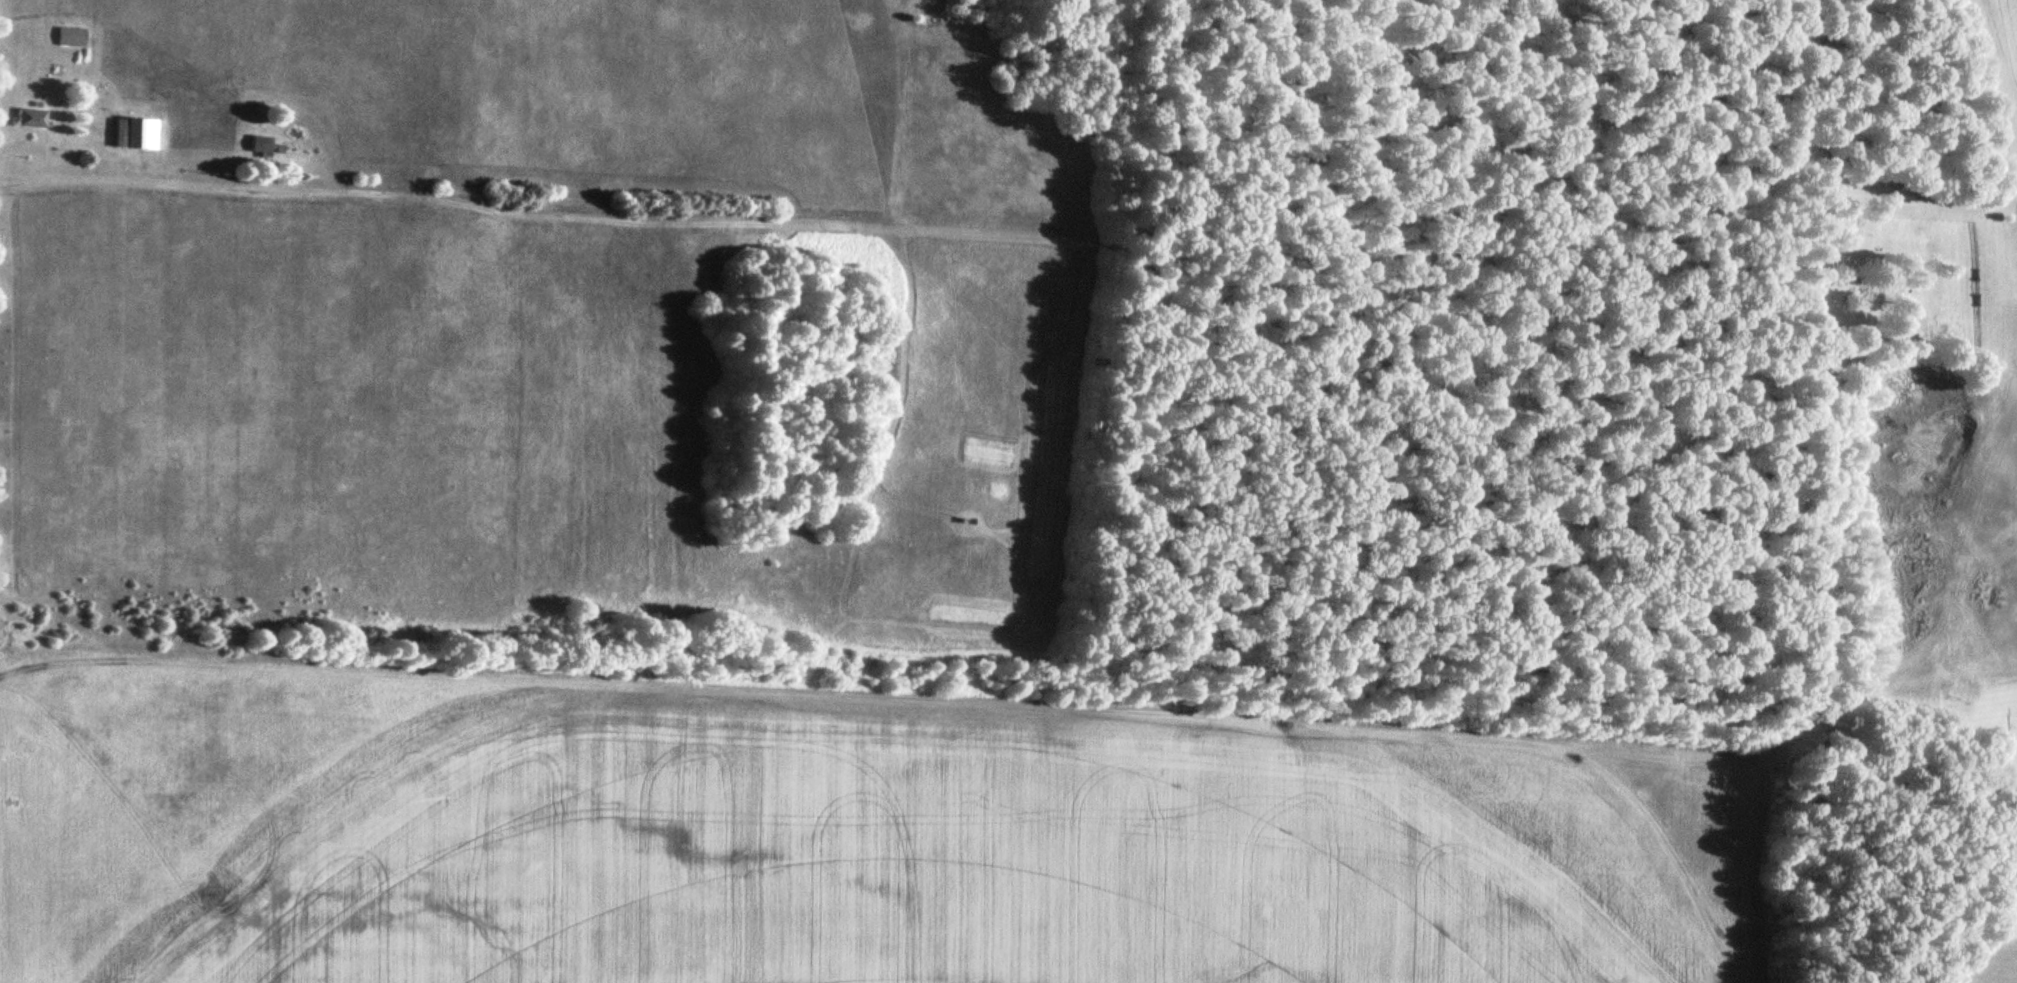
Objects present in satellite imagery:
building: (61, 37)
building: (30, 118)
building: (128, 132)
building: (258, 145)
road: (271, 176)
road: (135, 181)
road: (550, 212)

